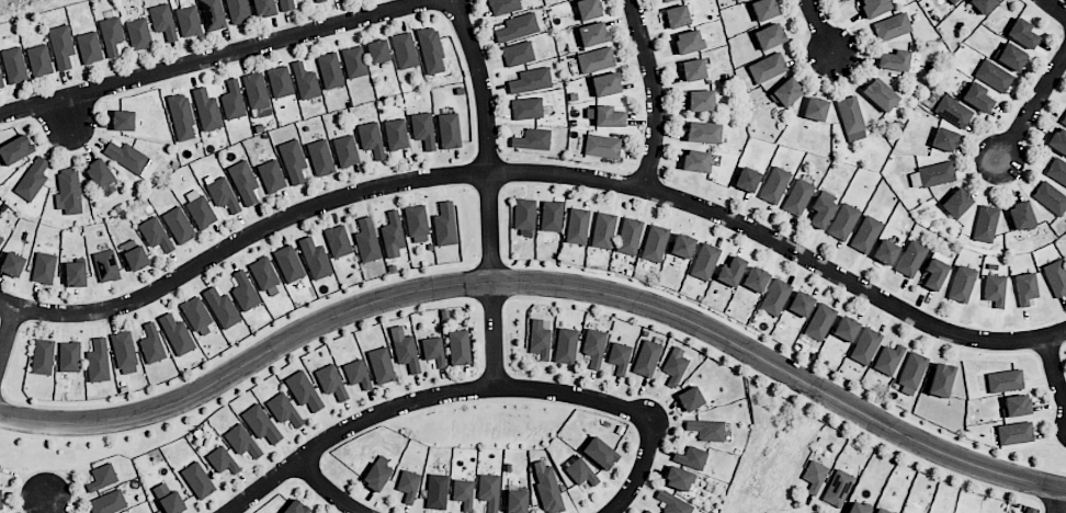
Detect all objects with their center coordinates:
building: (319, 0)
building: (665, 0)
building: (735, 0)
building: (841, 0)
building: (953, 1)
building: (286, 4)
building: (983, 4)
building: (503, 5)
building: (874, 7)
building: (264, 8)
road: (1055, 8)
building: (588, 9)
building: (763, 9)
building: (237, 11)
building: (213, 14)
building: (676, 16)
building: (188, 19)
building: (162, 21)
road: (818, 25)
building: (517, 26)
building: (891, 26)
building: (1021, 33)
building: (111, 34)
building: (138, 34)
building: (592, 34)
building: (769, 35)
building: (688, 41)
building: (61, 45)
building: (89, 47)
building: (404, 49)
building: (377, 50)
building: (431, 50)
building: (518, 53)
road: (209, 56)
building: (1009, 56)
building: (38, 59)
building: (596, 59)
building: (894, 59)
building: (353, 61)
building: (13, 65)
building: (767, 67)
building: (693, 69)
building: (329, 70)
building: (994, 75)
building: (530, 80)
building: (280, 81)
building: (305, 81)
building: (1, 82)
building: (605, 84)
road: (654, 91)
building: (786, 92)
building: (257, 94)
building: (880, 94)
building: (977, 98)
building: (233, 100)
building: (700, 100)
road: (1033, 105)
building: (526, 107)
building: (815, 109)
building: (206, 110)
road: (67, 111)
building: (952, 111)
building: (181, 116)
building: (604, 116)
building: (851, 118)
building: (123, 119)
building: (1064, 122)
building: (422, 129)
building: (449, 130)
building: (703, 132)
building: (396, 134)
building: (943, 138)
building: (371, 139)
building: (532, 139)
building: (1057, 140)
building: (602, 146)
building: (15, 149)
building: (345, 150)
building: (320, 157)
building: (129, 158)
building: (292, 160)
building: (695, 160)
road: (535, 171)
building: (1057, 171)
building: (99, 172)
building: (271, 175)
building: (32, 179)
building: (747, 180)
building: (243, 182)
building: (774, 184)
road: (487, 190)
building: (68, 191)
building: (223, 194)
building: (797, 196)
building: (1050, 197)
building: (955, 203)
building: (199, 208)
building: (820, 212)
building: (524, 213)
building: (551, 215)
building: (1021, 215)
building: (842, 221)
building: (417, 223)
building: (444, 224)
building: (985, 224)
building: (178, 225)
building: (576, 226)
building: (603, 229)
building: (155, 233)
building: (865, 233)
building: (392, 235)
building: (628, 236)
building: (1, 239)
building: (366, 239)
building: (337, 240)
building: (654, 243)
building: (682, 246)
building: (885, 251)
building: (133, 254)
building: (315, 258)
building: (910, 258)
building: (12, 261)
building: (704, 261)
building: (288, 263)
building: (105, 265)
building: (44, 267)
building: (934, 270)
building: (730, 271)
building: (75, 273)
building: (265, 276)
building: (1055, 277)
building: (755, 278)
road: (538, 282)
building: (961, 283)
building: (1025, 287)
building: (994, 289)
building: (243, 290)
building: (775, 296)
building: (801, 304)
building: (222, 307)
building: (196, 315)
building: (820, 321)
road: (7, 328)
building: (846, 328)
building: (177, 334)
building: (538, 339)
building: (151, 343)
building: (565, 345)
building: (865, 345)
building: (458, 346)
building: (593, 346)
building: (404, 349)
building: (432, 350)
building: (124, 352)
building: (42, 356)
building: (69, 356)
building: (619, 357)
building: (647, 357)
building: (888, 358)
building: (98, 361)
building: (381, 365)
building: (674, 366)
road: (1053, 369)
building: (911, 373)
building: (356, 374)
building: (940, 379)
building: (1005, 379)
building: (330, 381)
building: (303, 390)
road: (423, 397)
building: (690, 398)
building: (1016, 404)
building: (283, 409)
building: (261, 424)
building: (706, 429)
building: (1014, 433)
building: (241, 441)
building: (599, 453)
building: (691, 456)
building: (222, 459)
building: (382, 460)
road: (639, 467)
building: (580, 471)
building: (814, 476)
building: (102, 477)
building: (375, 477)
building: (678, 478)
building: (197, 480)
building: (408, 485)
building: (546, 486)
building: (838, 488)
road: (327, 489)
building: (436, 491)
building: (489, 491)
building: (463, 493)
building: (168, 499)
building: (0, 500)
road: (1058, 500)
building: (515, 501)
building: (107, 502)
building: (672, 503)
road: (50, 504)
building: (295, 506)
building: (858, 508)
building: (647, 511)
building: (882, 511)
building: (5, 512)

